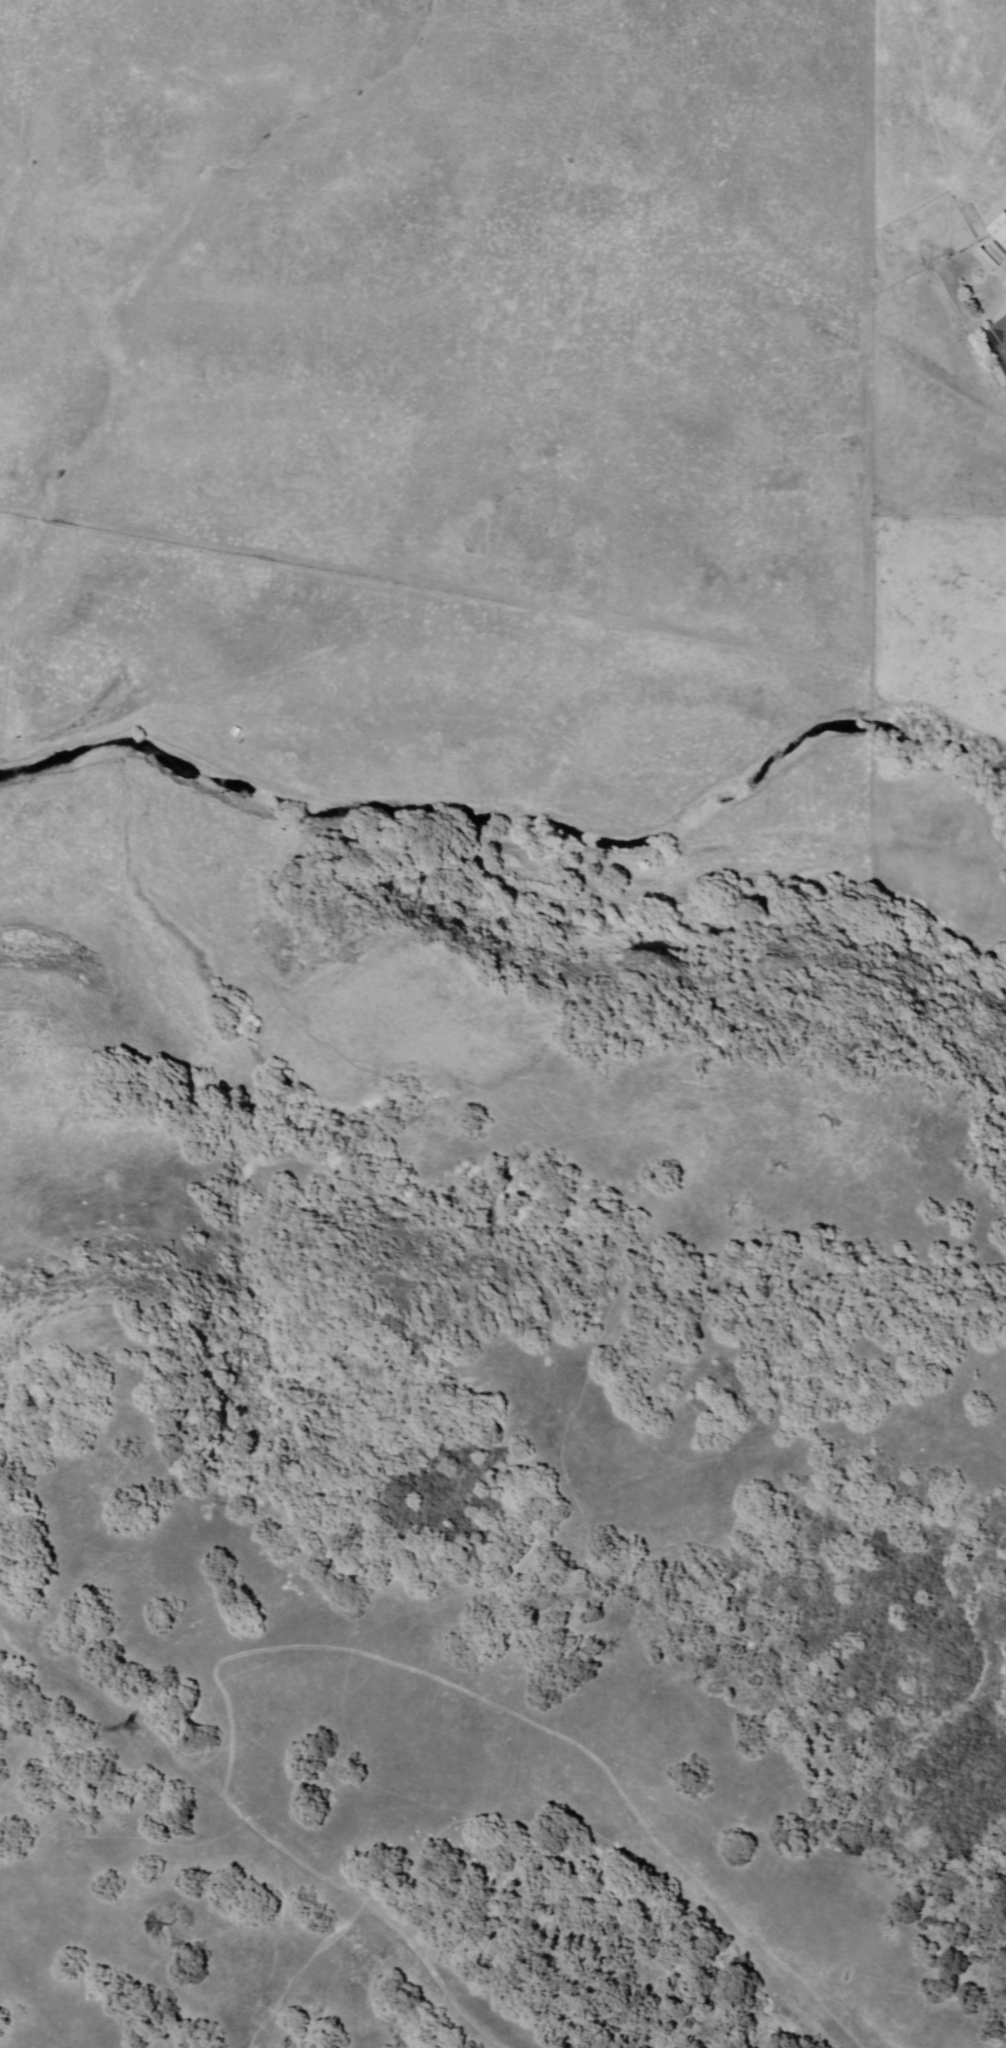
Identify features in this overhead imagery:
building: (1000, 231)
building: (992, 258)
building: (1002, 335)
power tower: (126, 1731)

